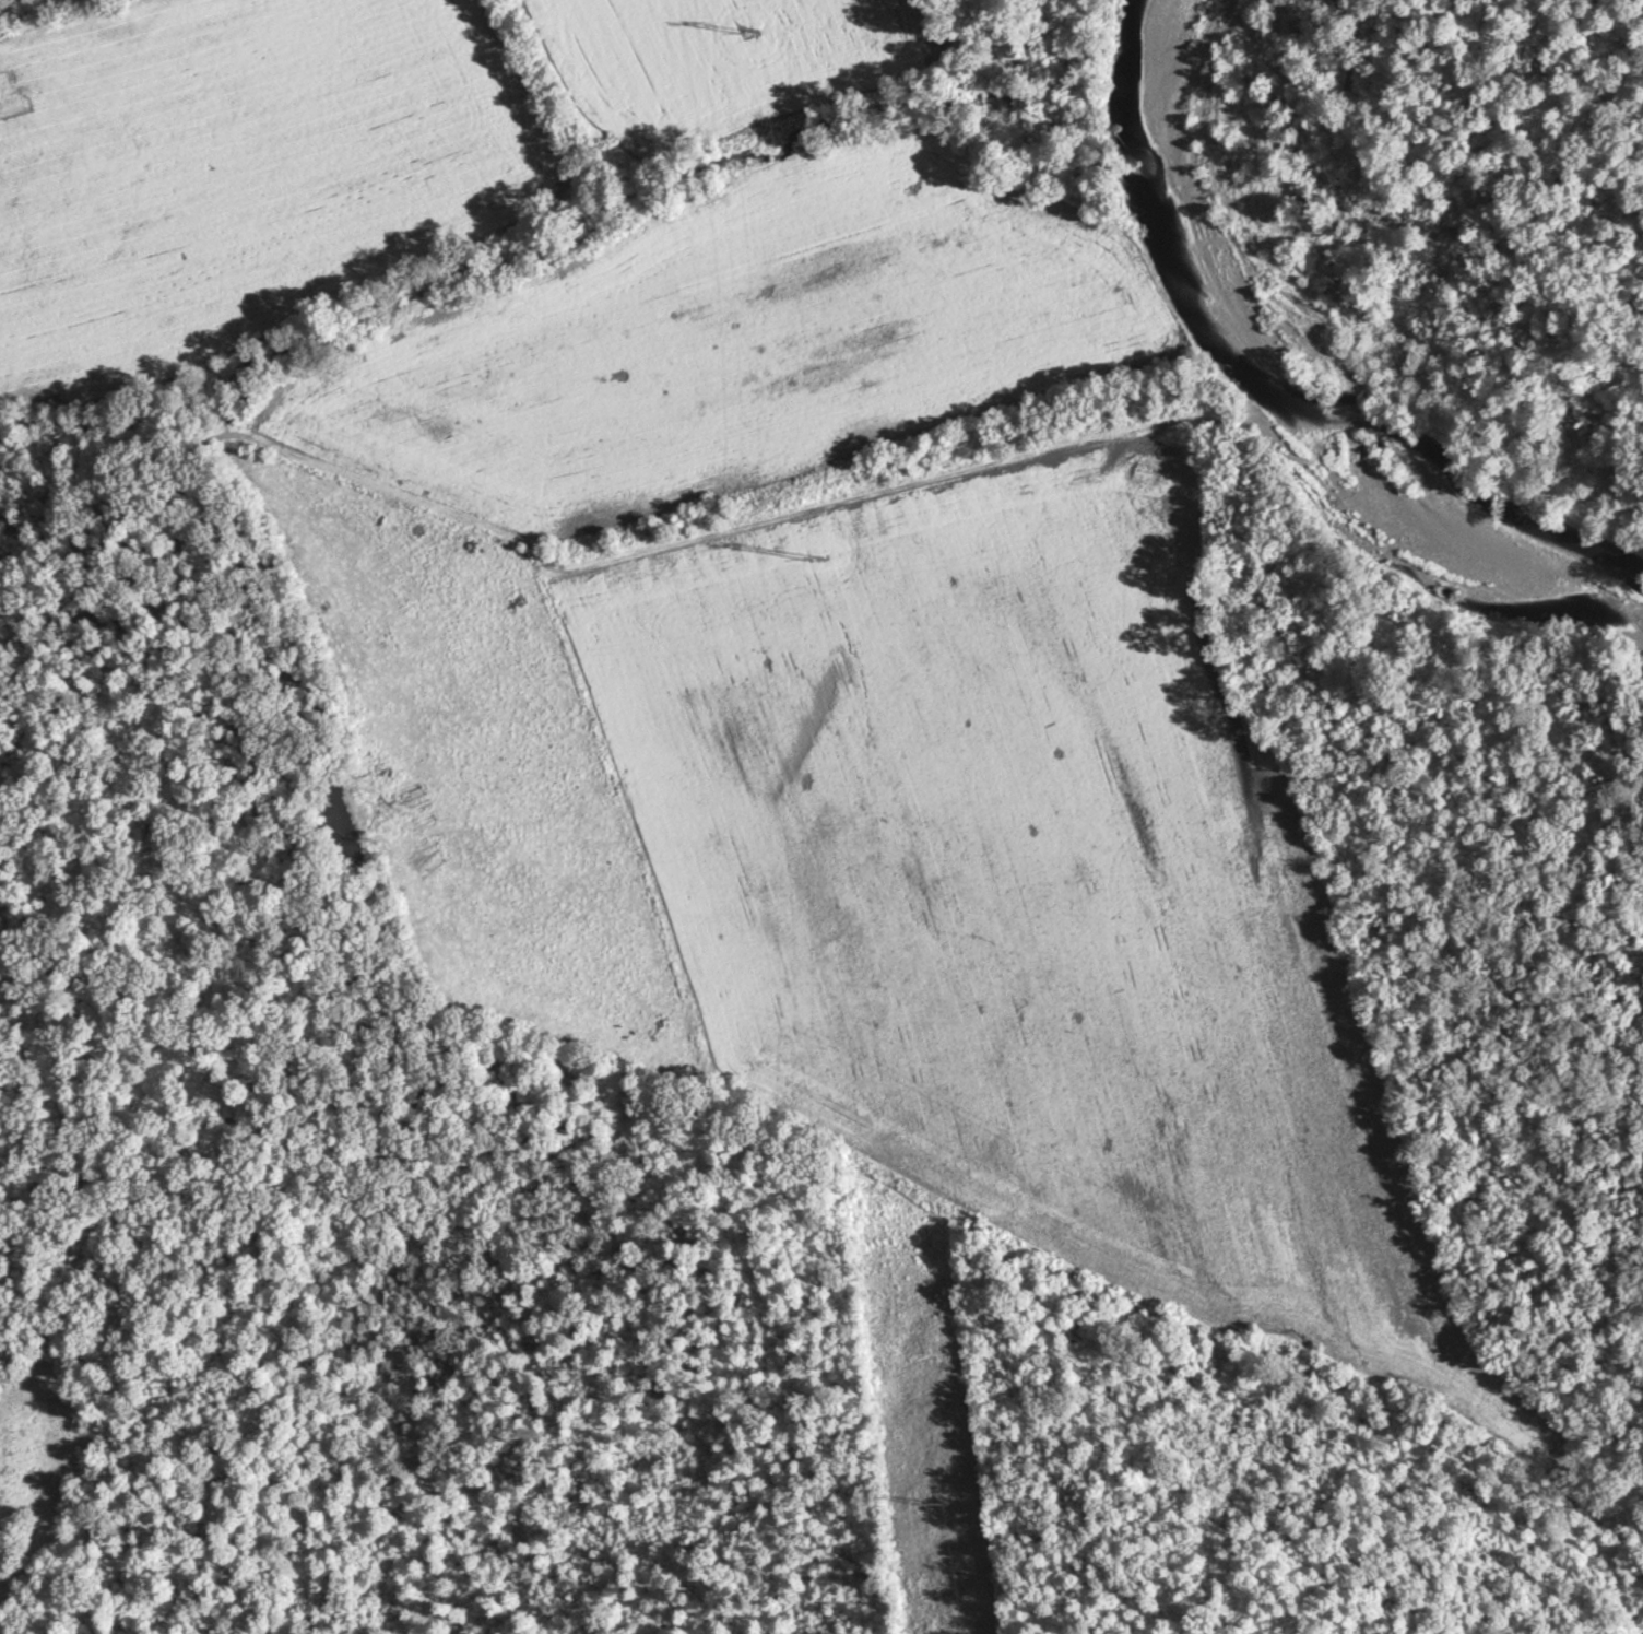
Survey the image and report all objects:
power tower: (748, 30)
river: (1281, 397)
power tower: (814, 556)
power tower: (937, 1506)

